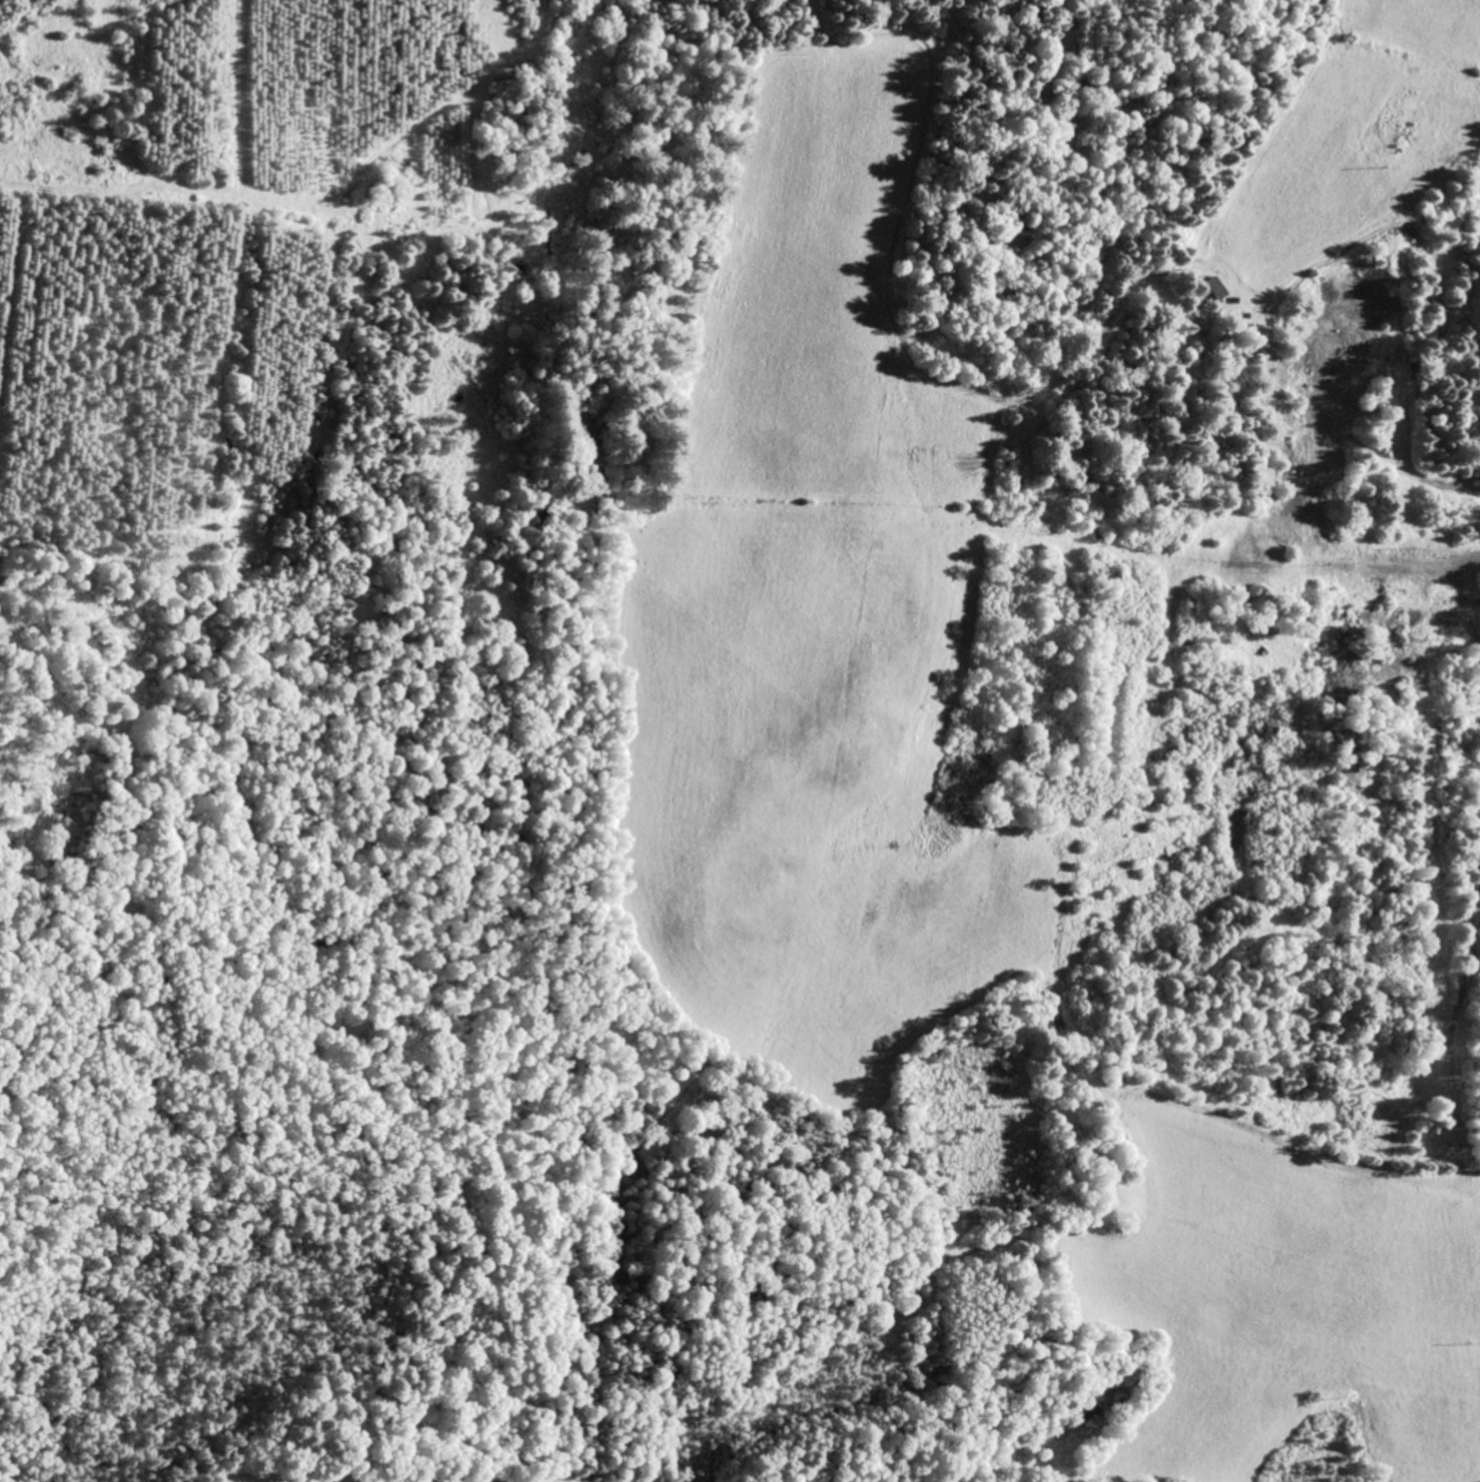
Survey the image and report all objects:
building: (1214, 289)
road: (1351, 554)

